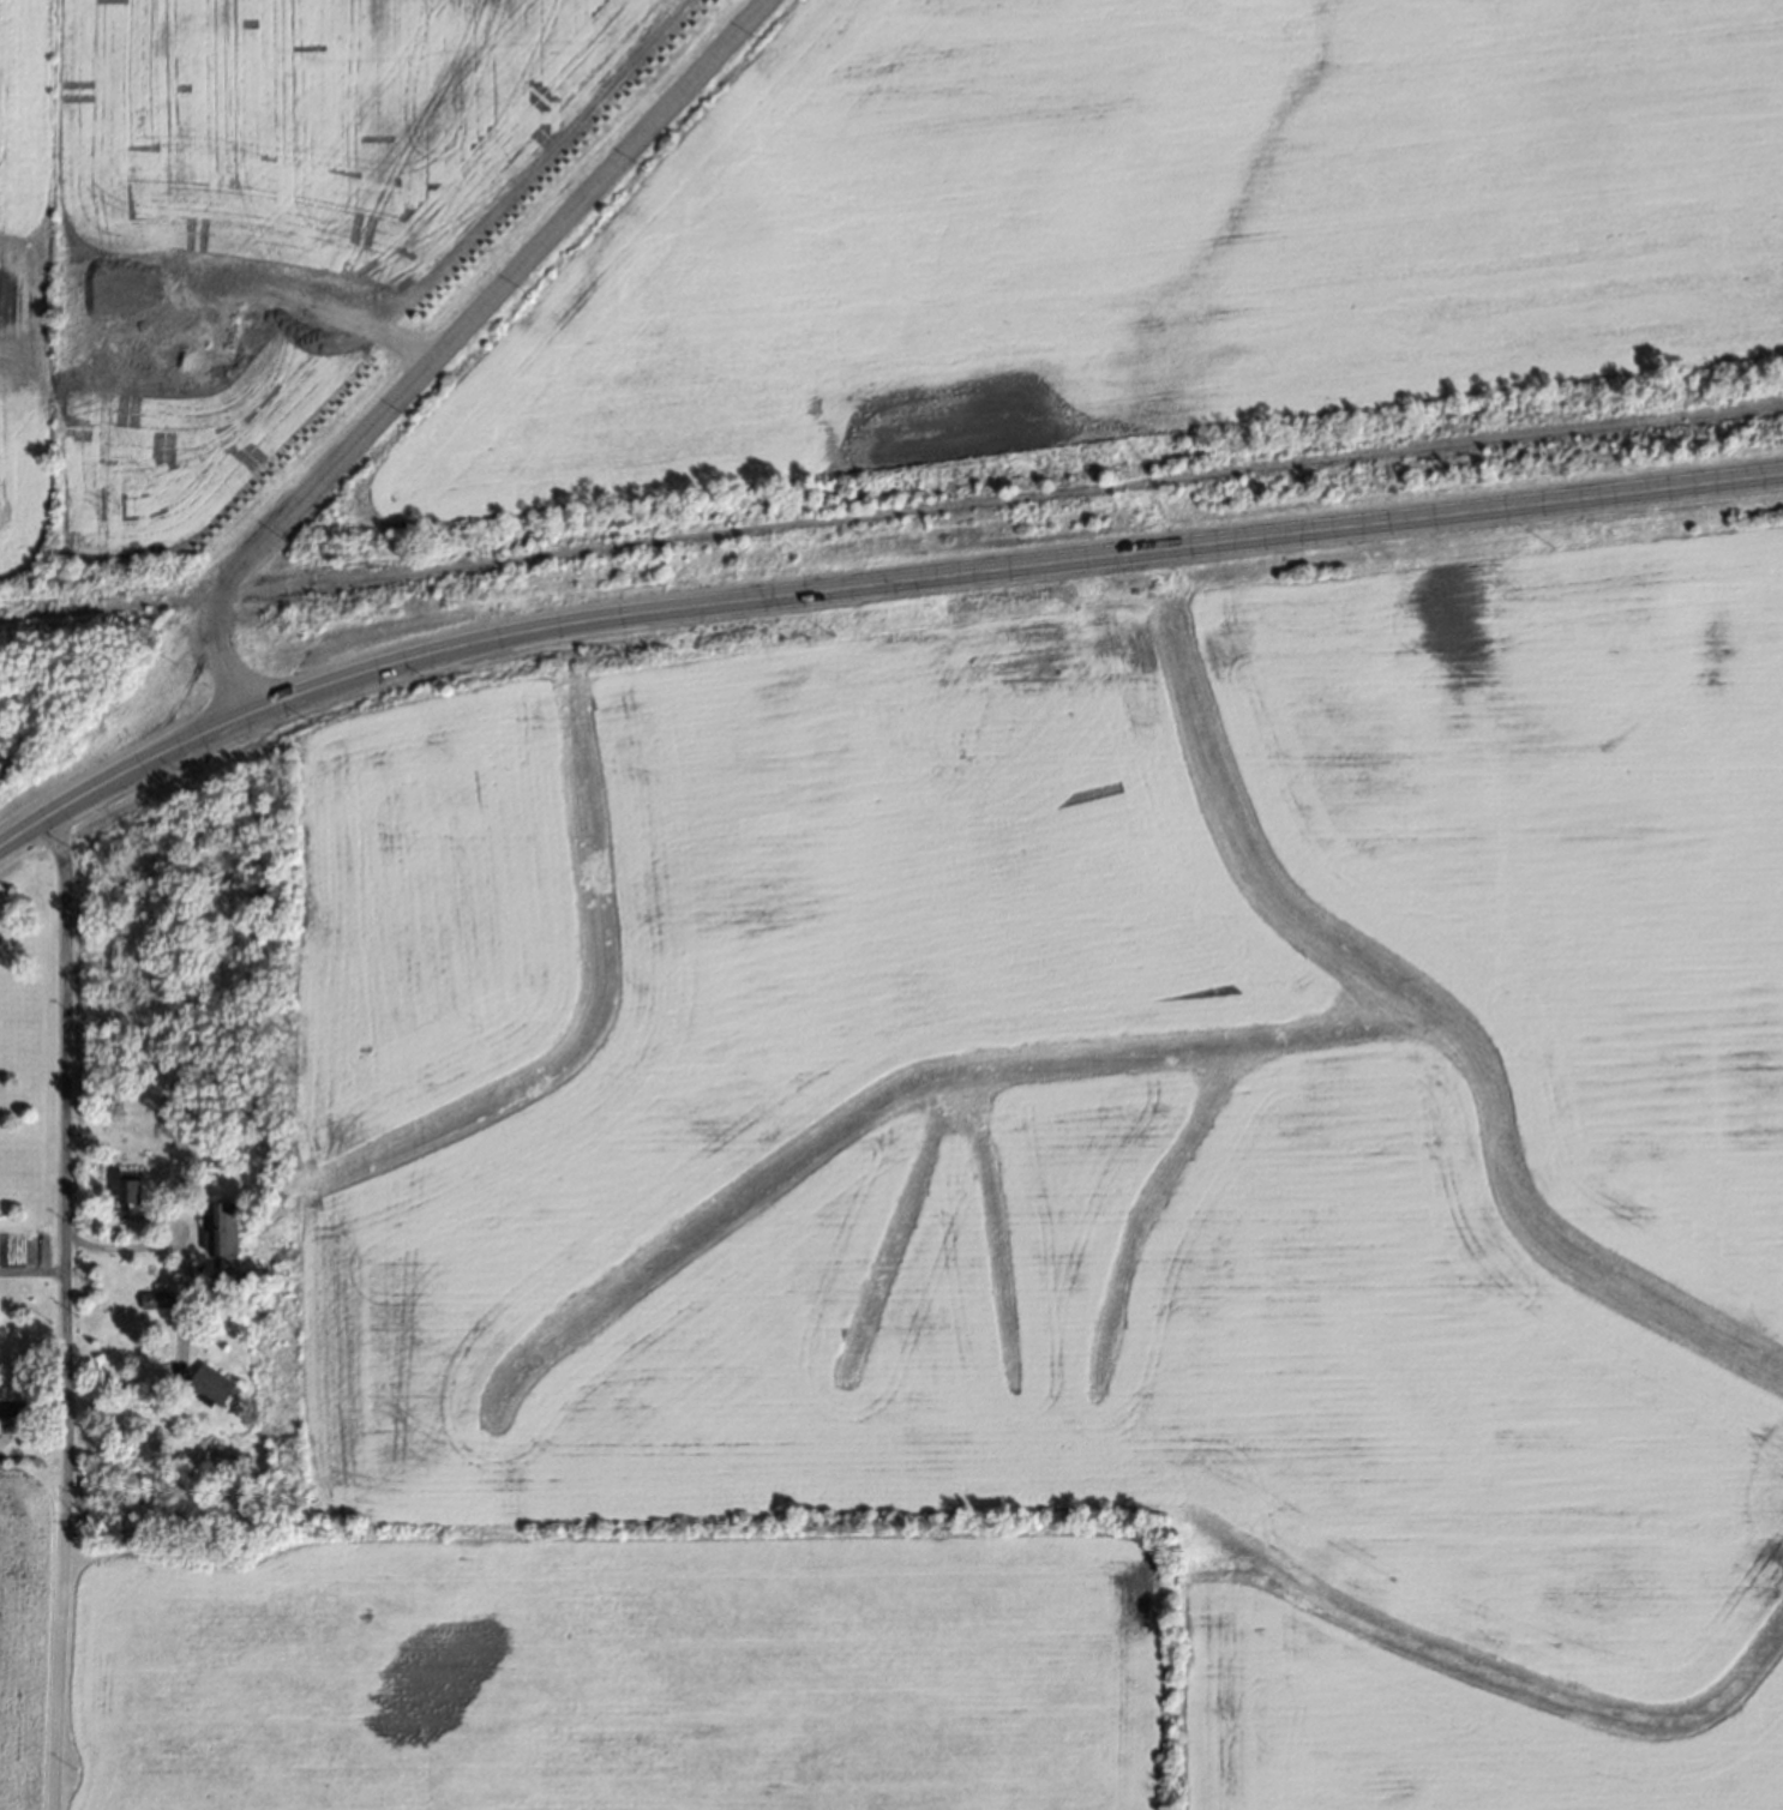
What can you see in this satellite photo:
crop: (25, 302)
road: (316, 306)
road: (443, 342)
road: (870, 591)
building: (134, 1195)
building: (226, 1227)
road: (175, 1241)
road: (25, 1270)
building: (161, 1299)
road: (52, 1309)
building: (215, 1383)

